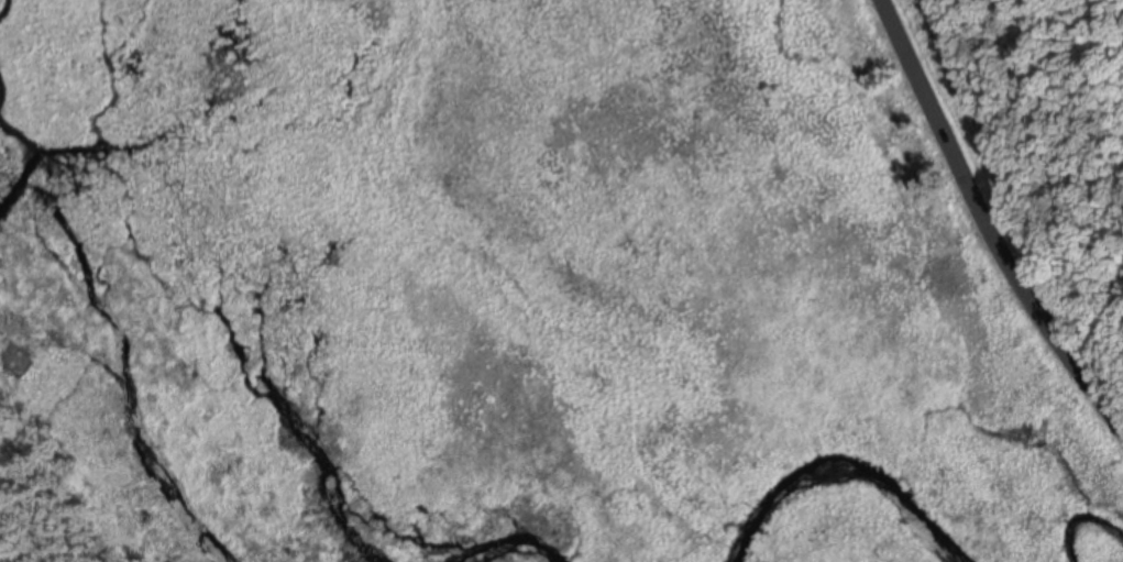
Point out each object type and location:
road: (984, 223)

